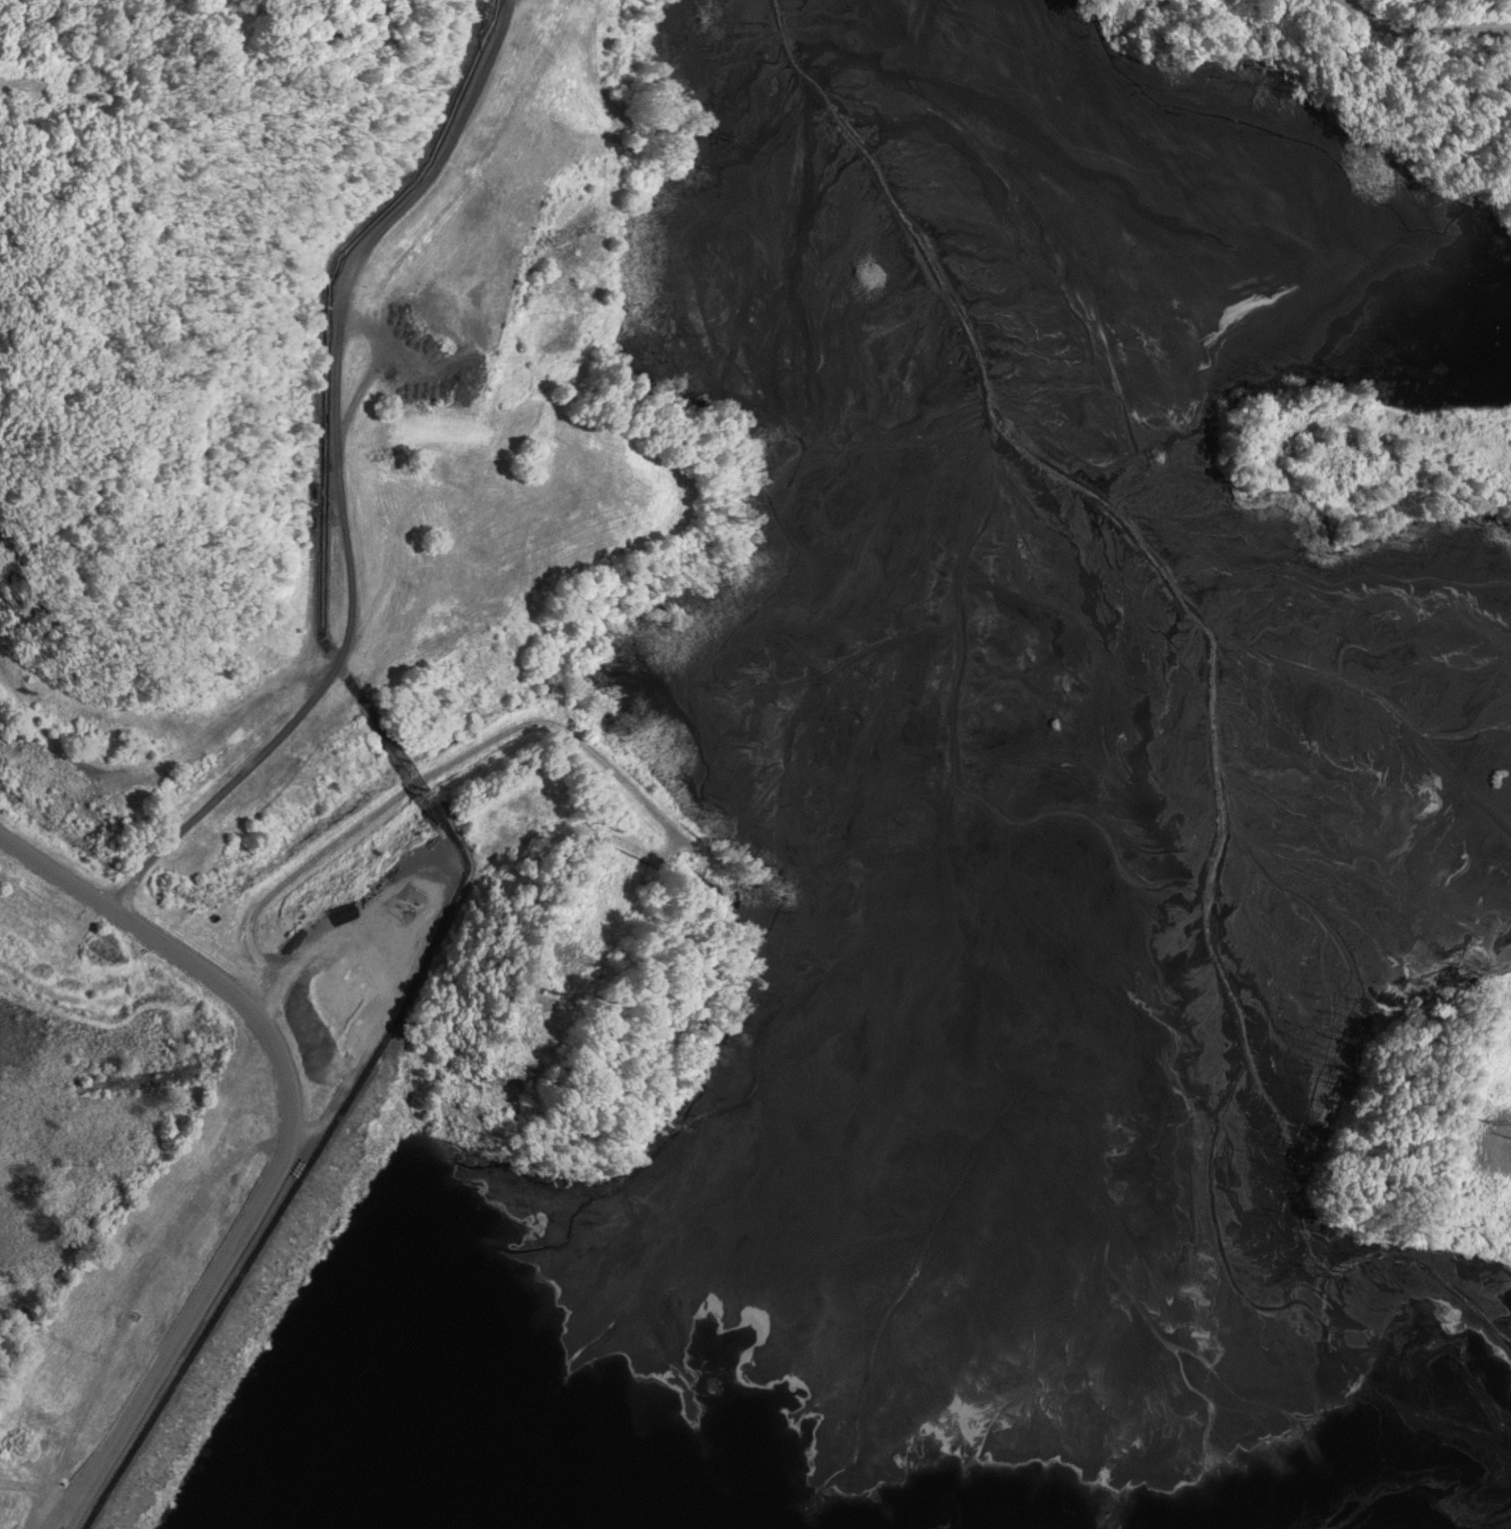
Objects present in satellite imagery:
power tower: (546, 1001)
building: (219, 1207)

